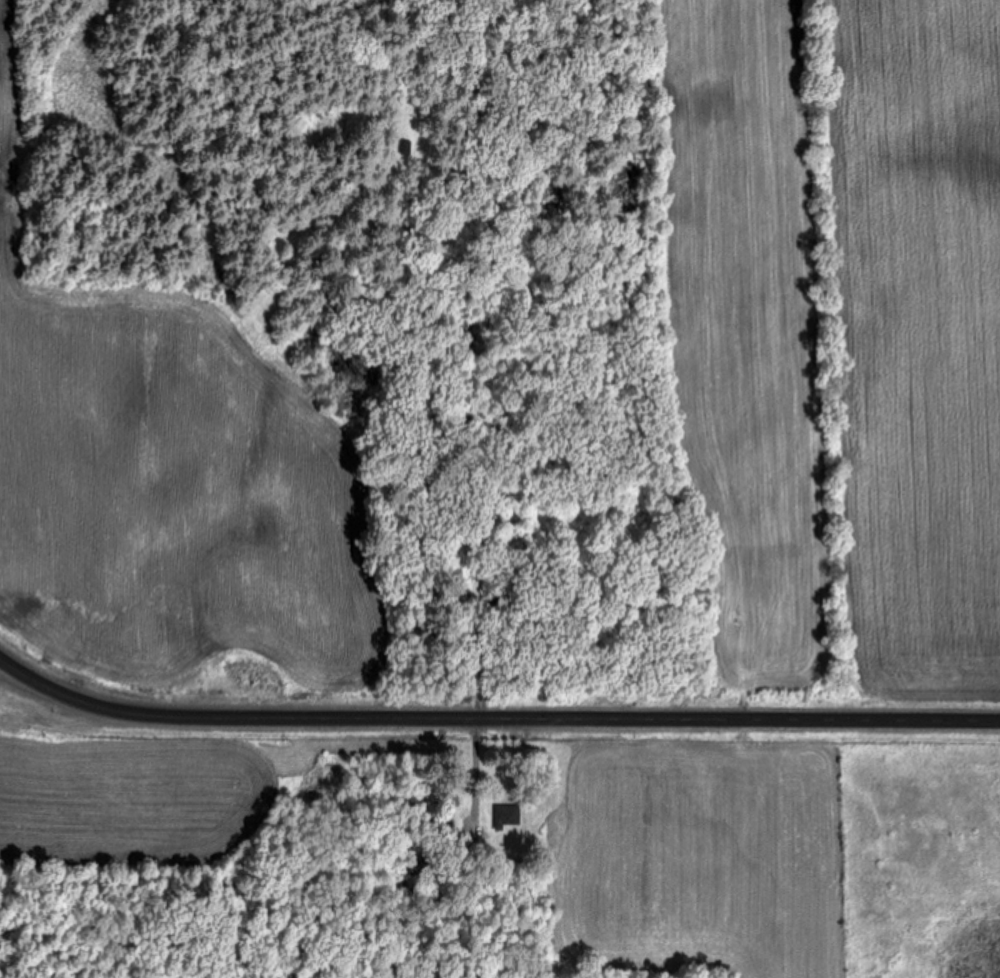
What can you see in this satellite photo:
building: (405, 148)
road: (493, 719)
building: (502, 817)
building: (440, 823)
building: (418, 865)

